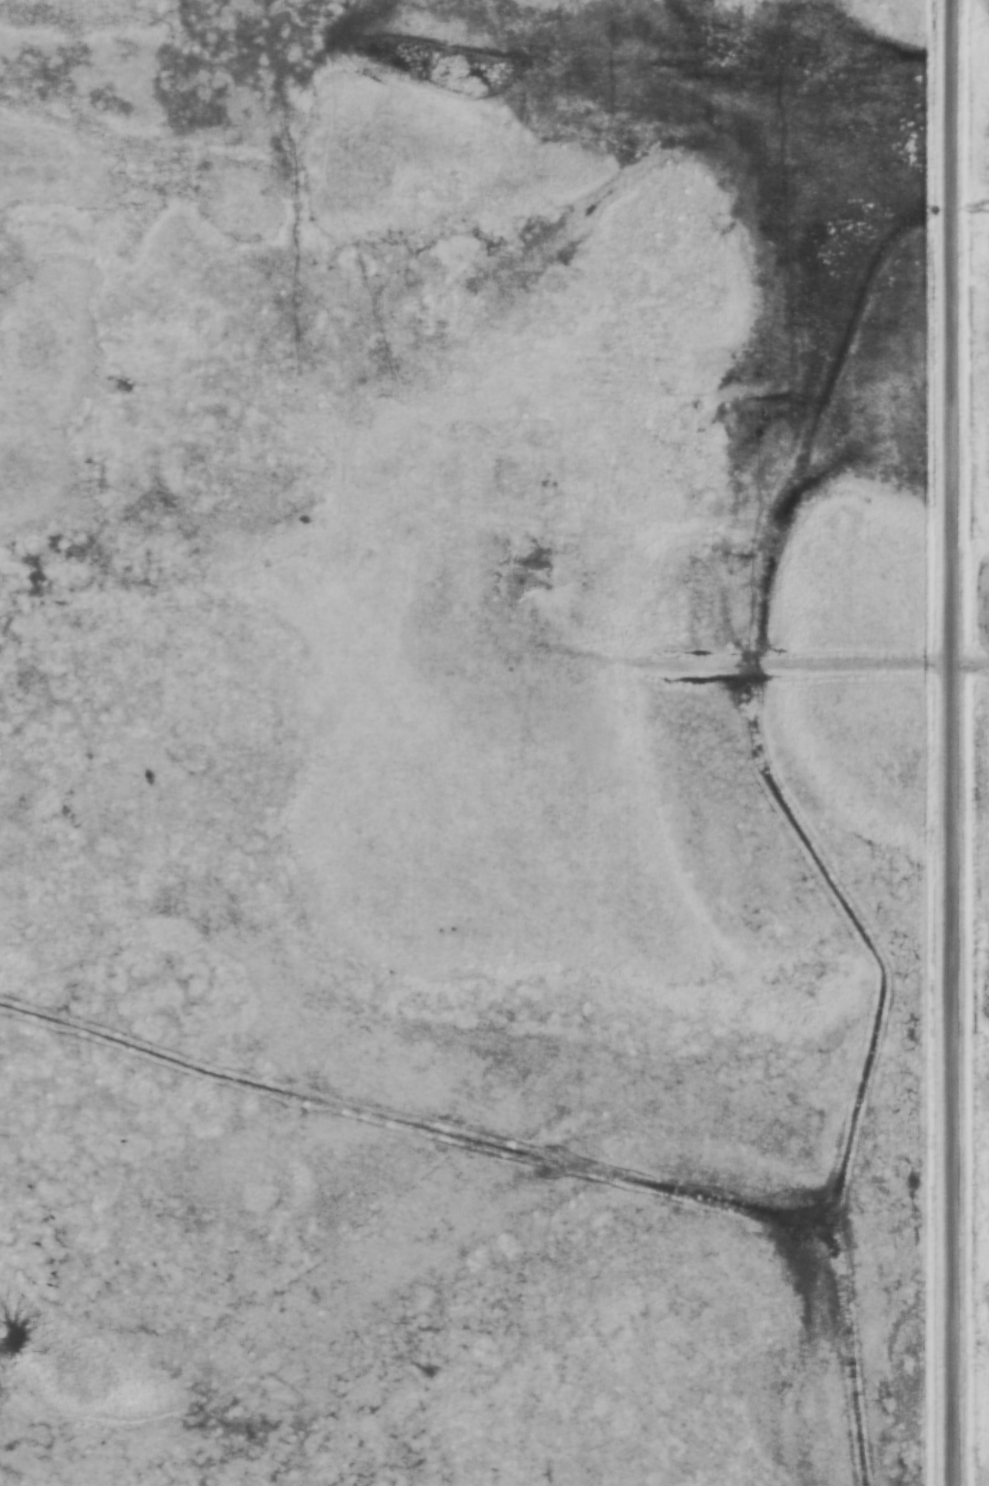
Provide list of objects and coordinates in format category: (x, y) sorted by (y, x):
building: (541, 578)
road: (950, 742)

